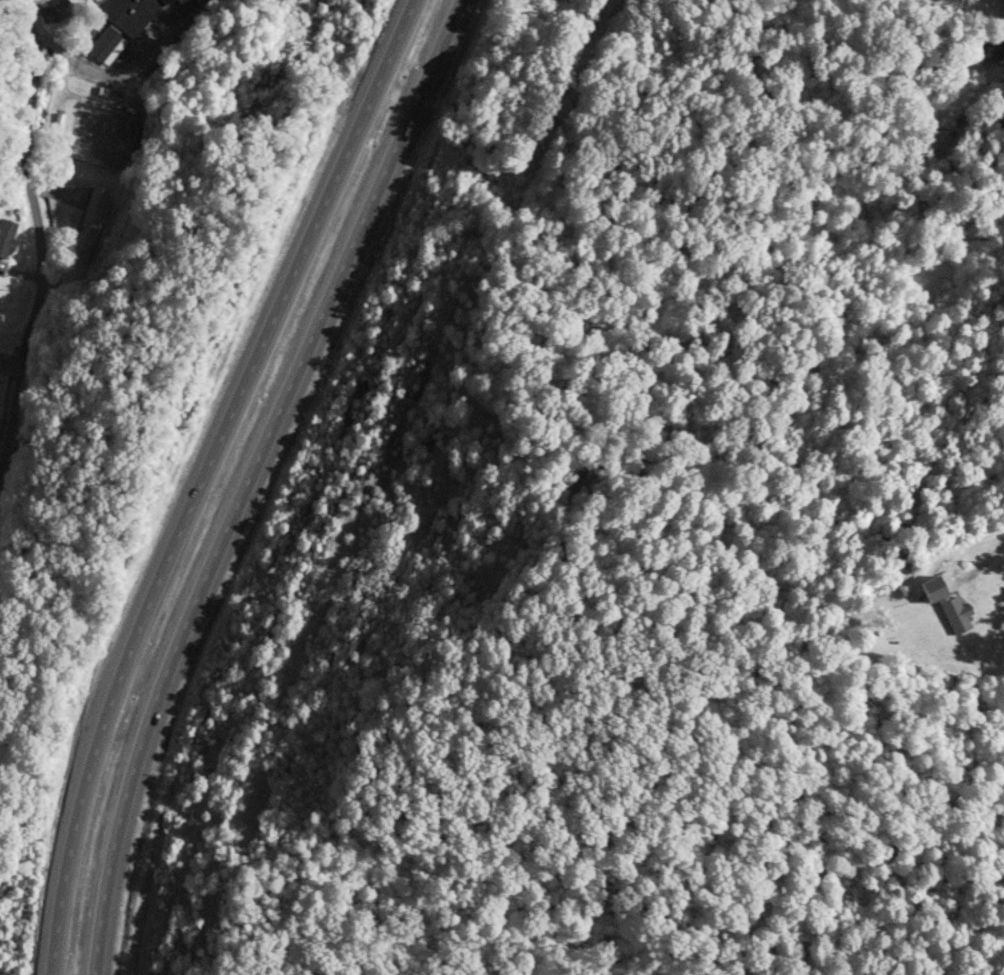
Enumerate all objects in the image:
building: (52, 12)
building: (130, 14)
building: (104, 46)
building: (987, 50)
road: (126, 73)
road: (59, 88)
building: (126, 129)
road: (59, 188)
building: (86, 225)
road: (37, 231)
building: (6, 237)
road: (199, 477)
road: (250, 477)
building: (956, 616)

